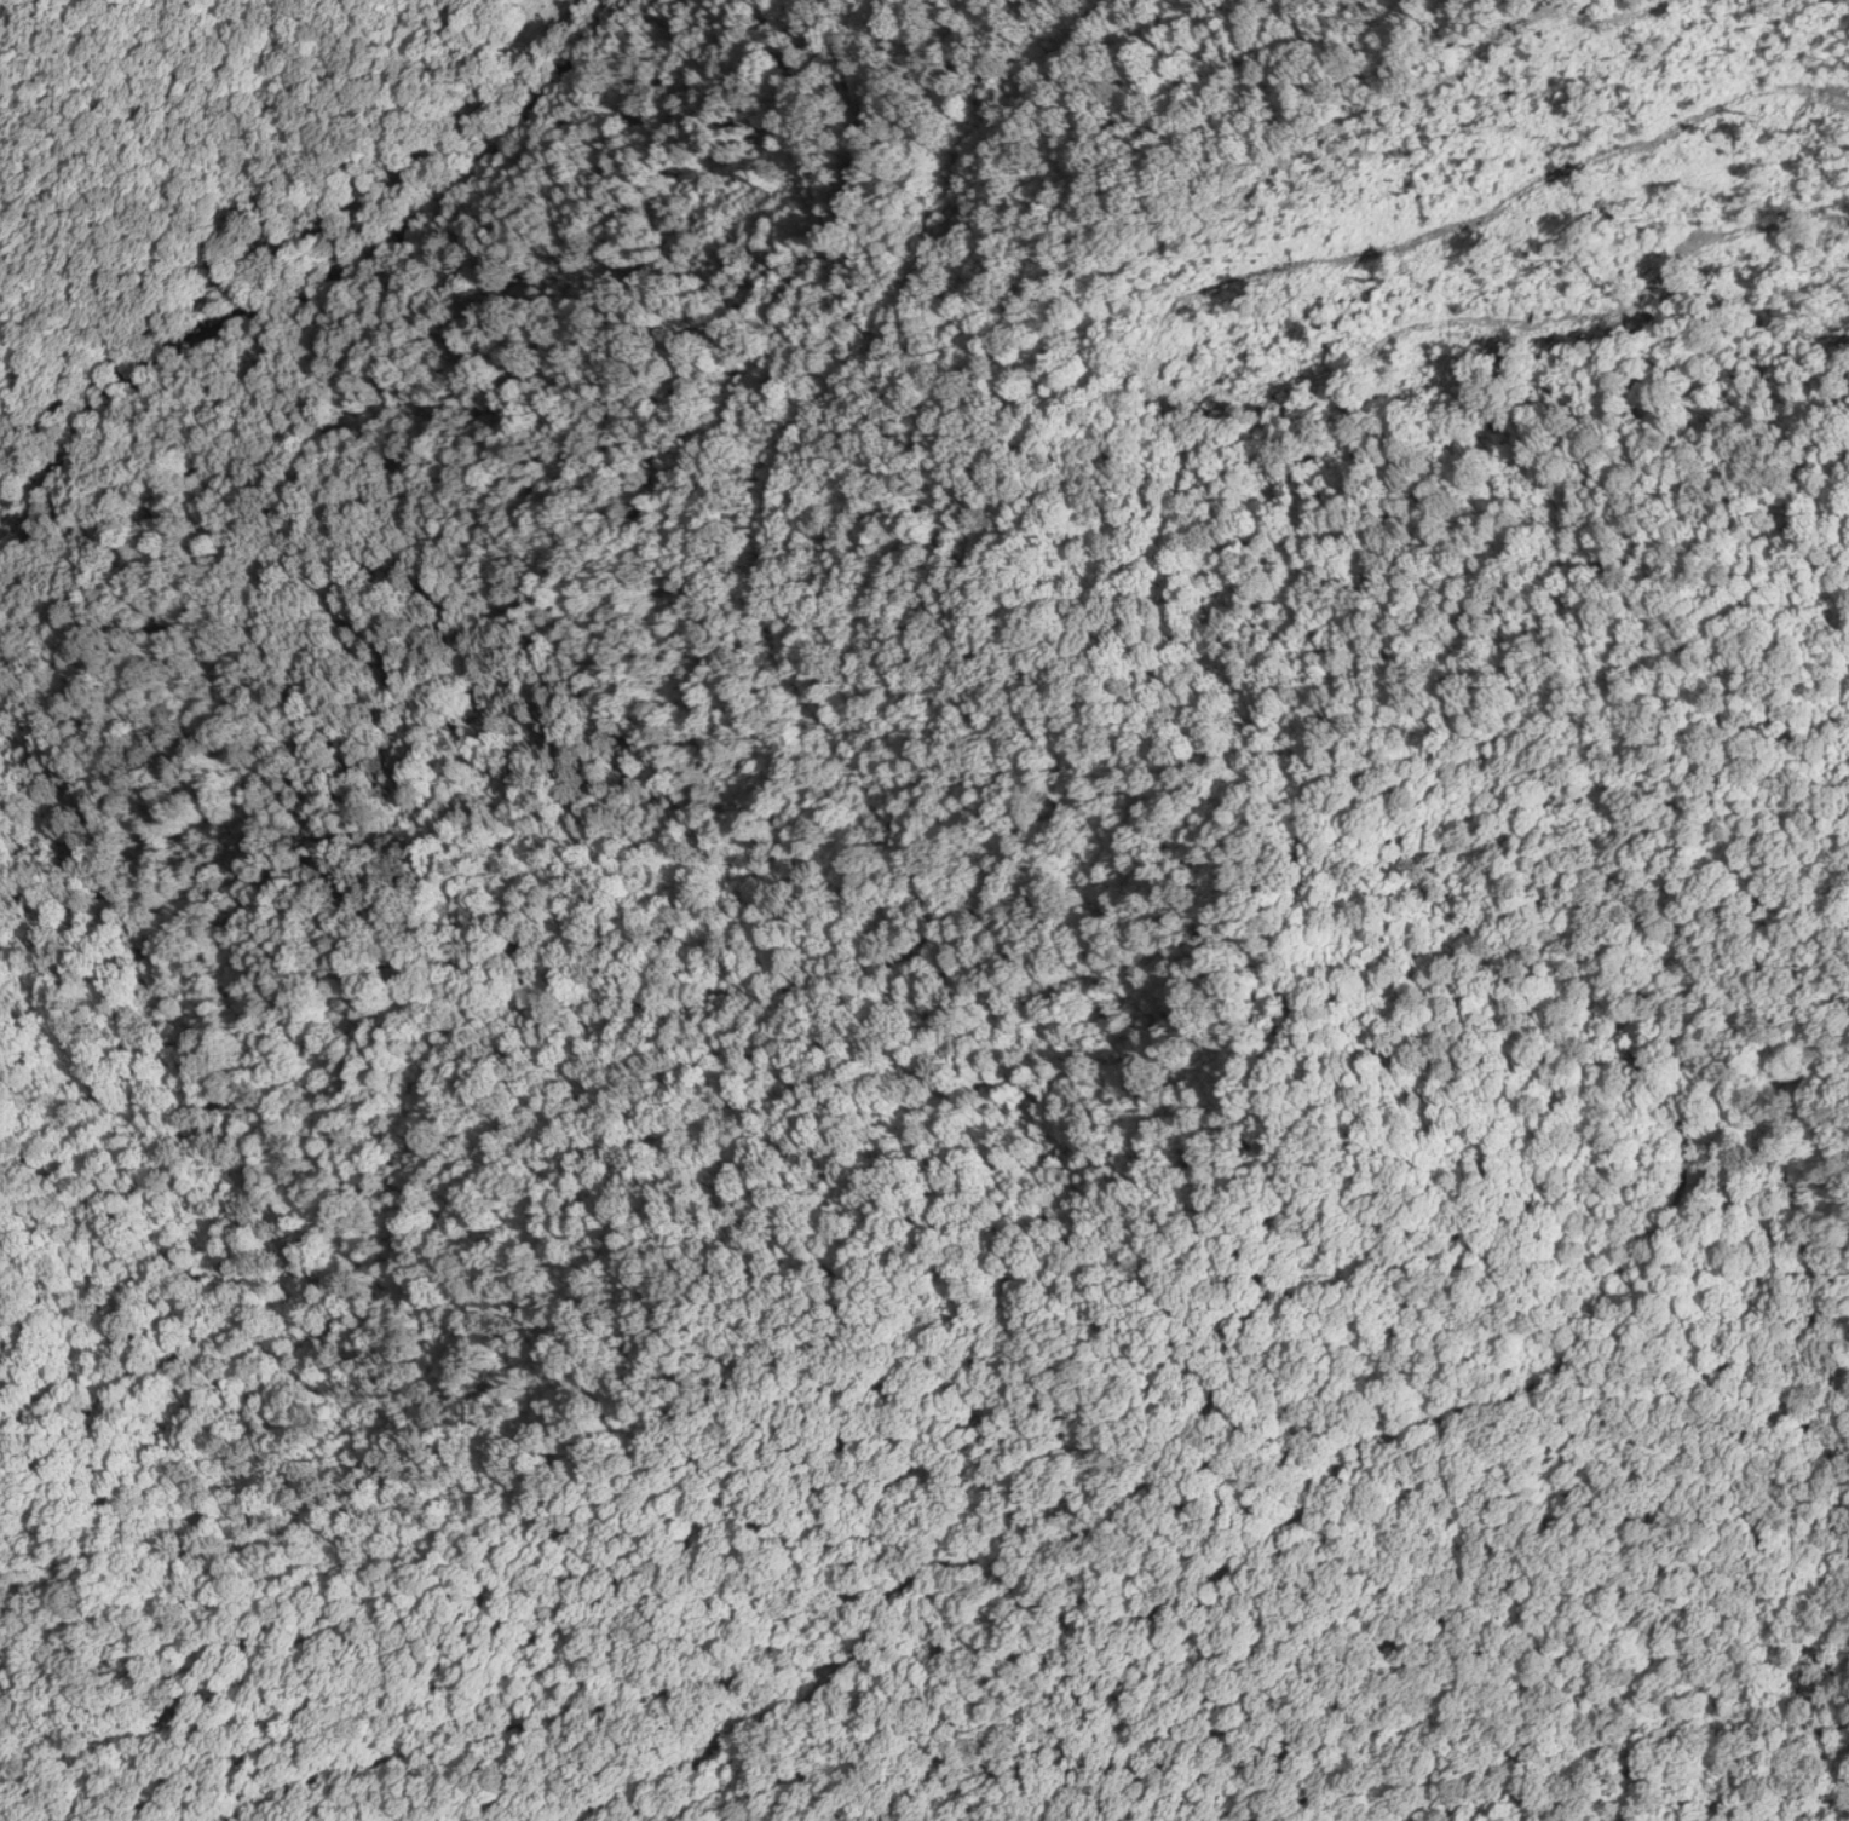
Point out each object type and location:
road: (295, 235)

